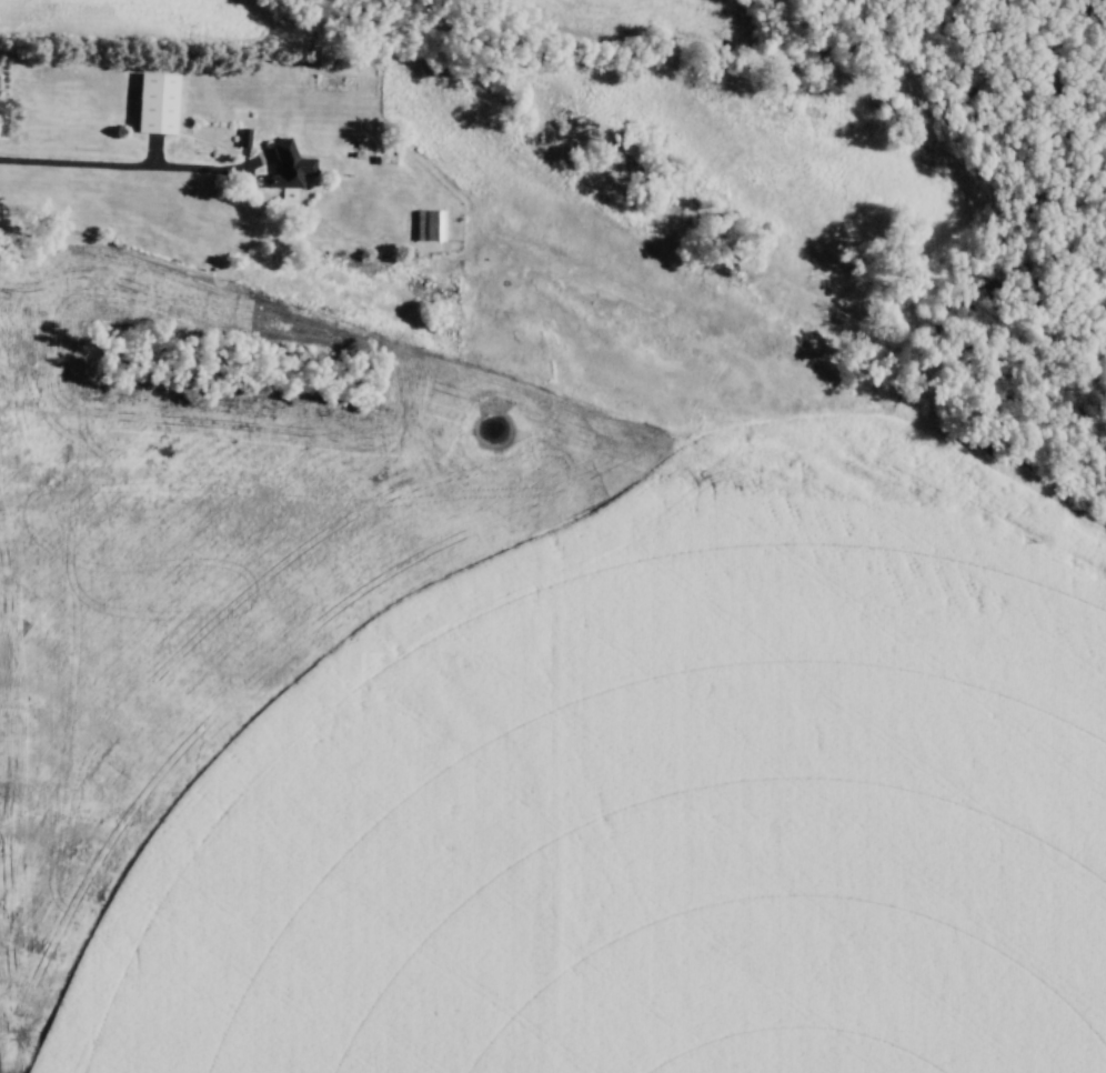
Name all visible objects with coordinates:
building: (158, 104)
road: (86, 166)
building: (291, 167)
building: (429, 225)

